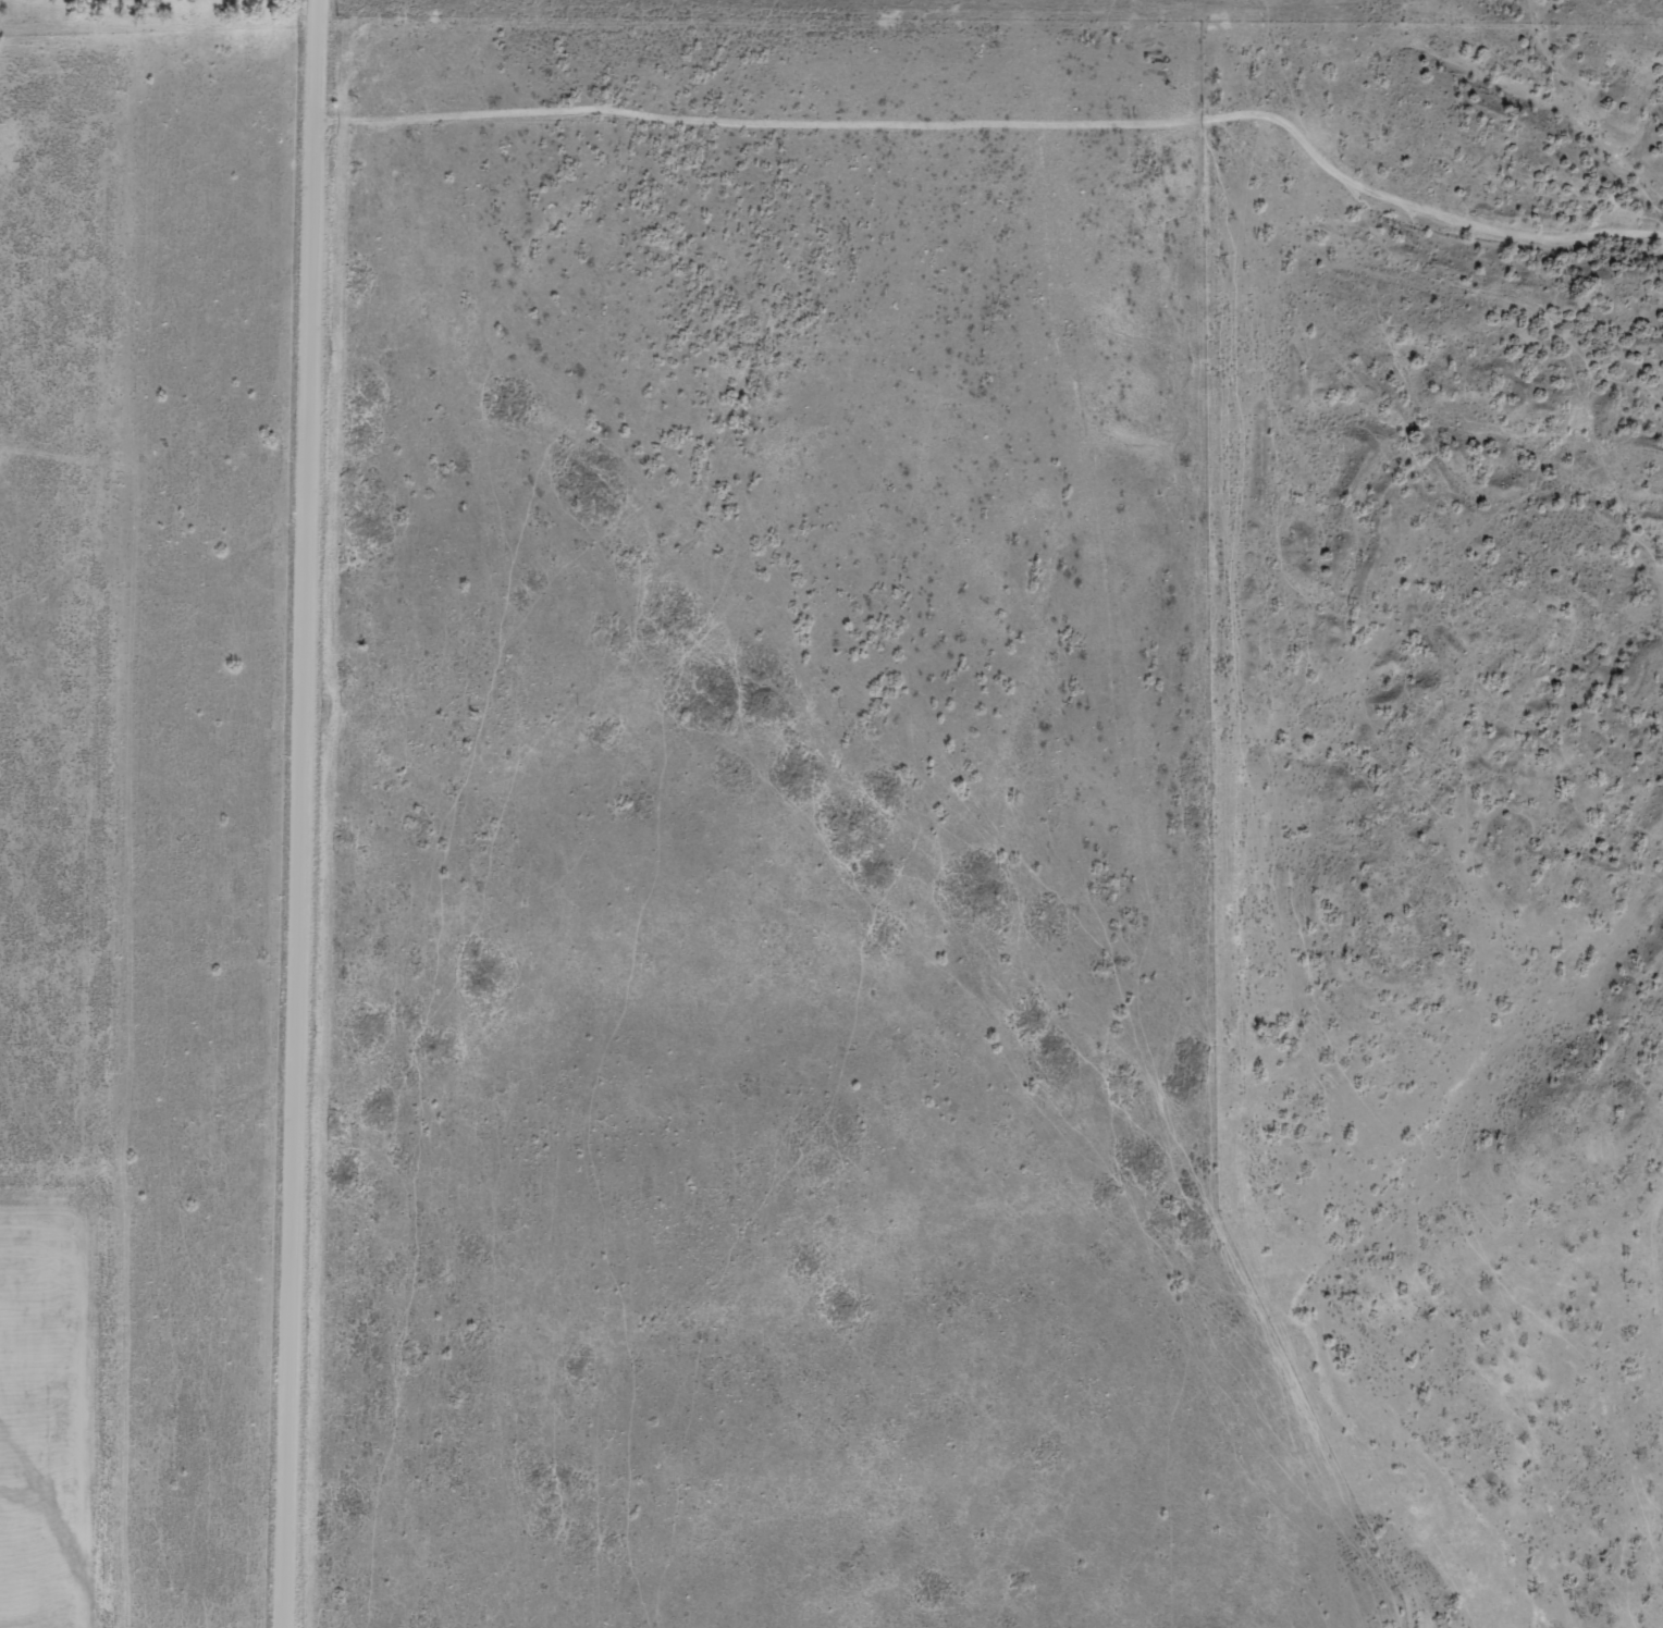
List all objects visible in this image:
road: (304, 814)

